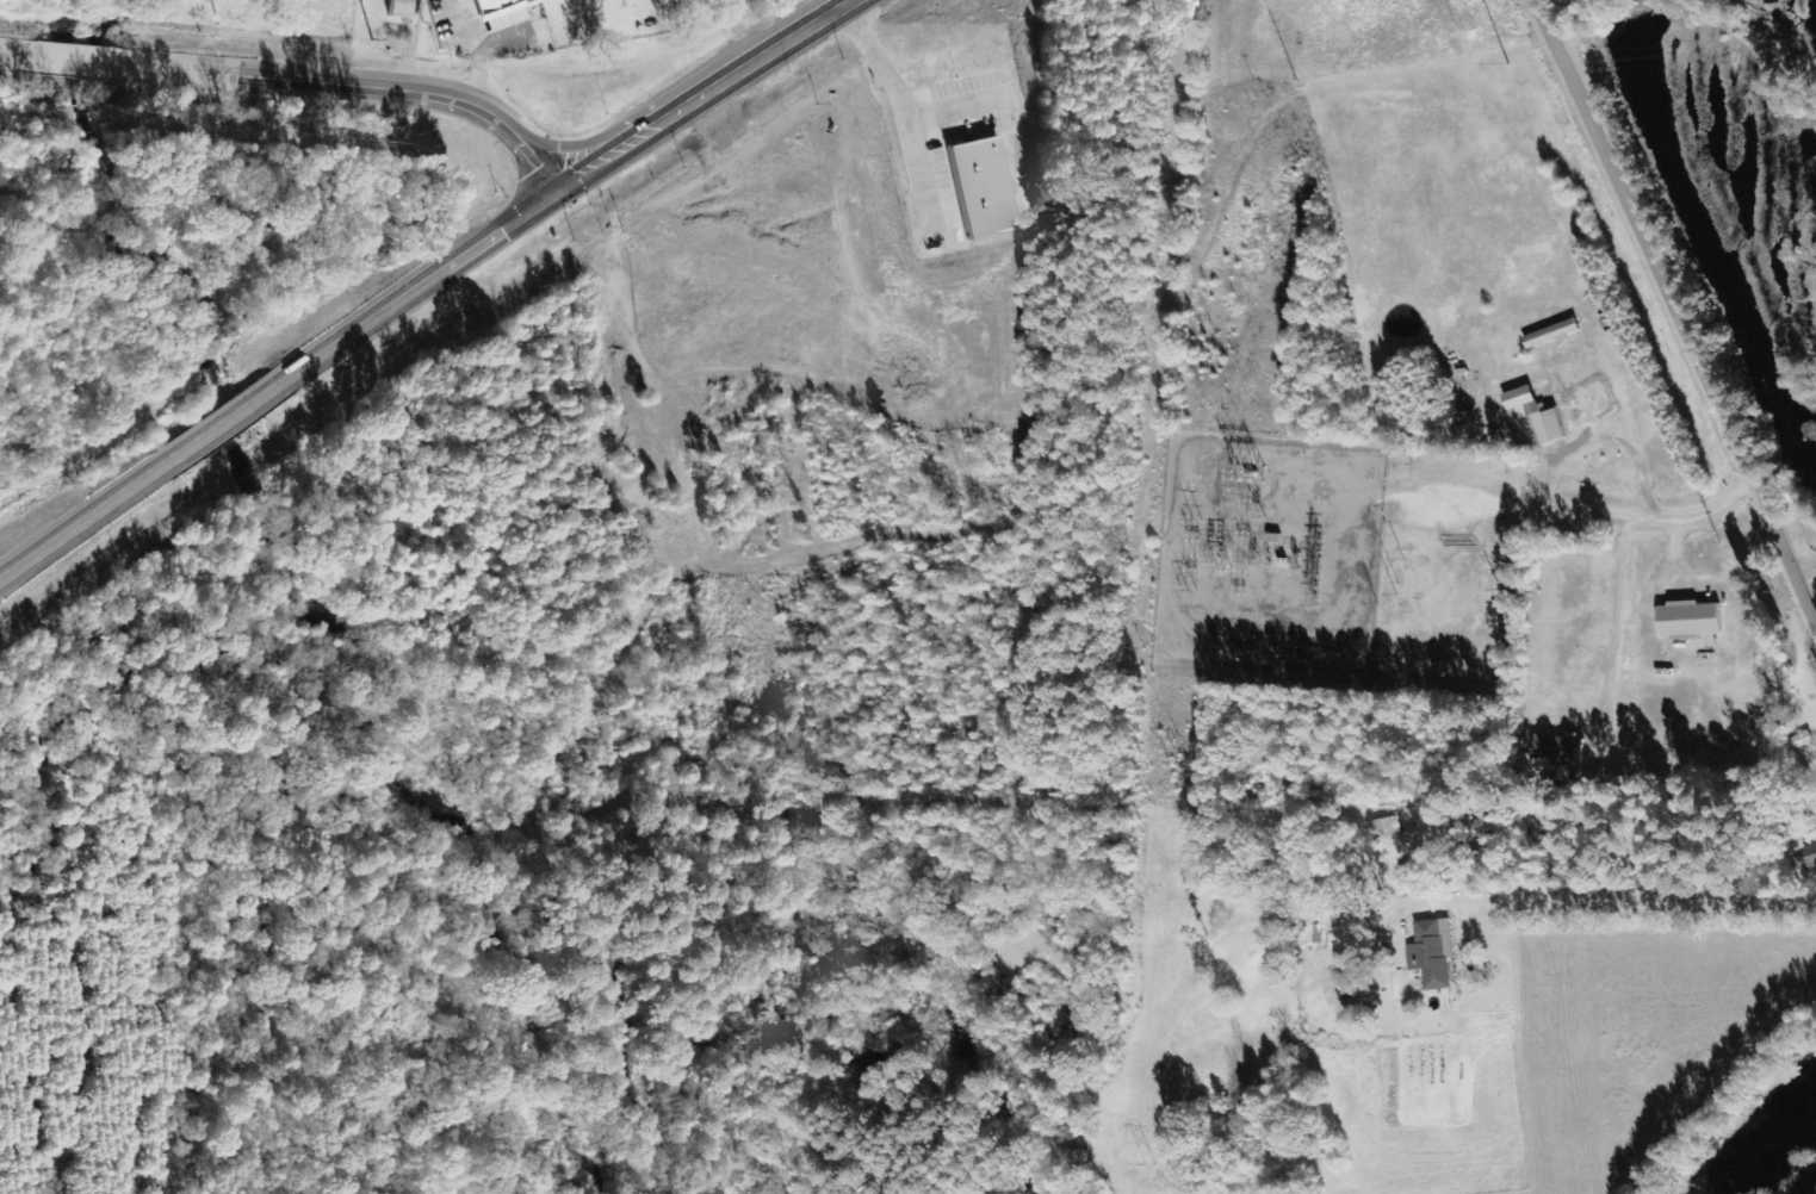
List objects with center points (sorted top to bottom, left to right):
building: (396, 8)
building: (491, 8)
road: (17, 52)
road: (70, 57)
road: (353, 86)
road: (709, 92)
building: (978, 187)
road: (419, 284)
road: (1681, 300)
building: (1587, 406)
building: (1532, 415)
road: (219, 418)
road: (82, 514)
road: (1800, 534)
building: (1690, 621)
road: (1458, 839)
building: (1811, 859)
building: (1432, 953)

